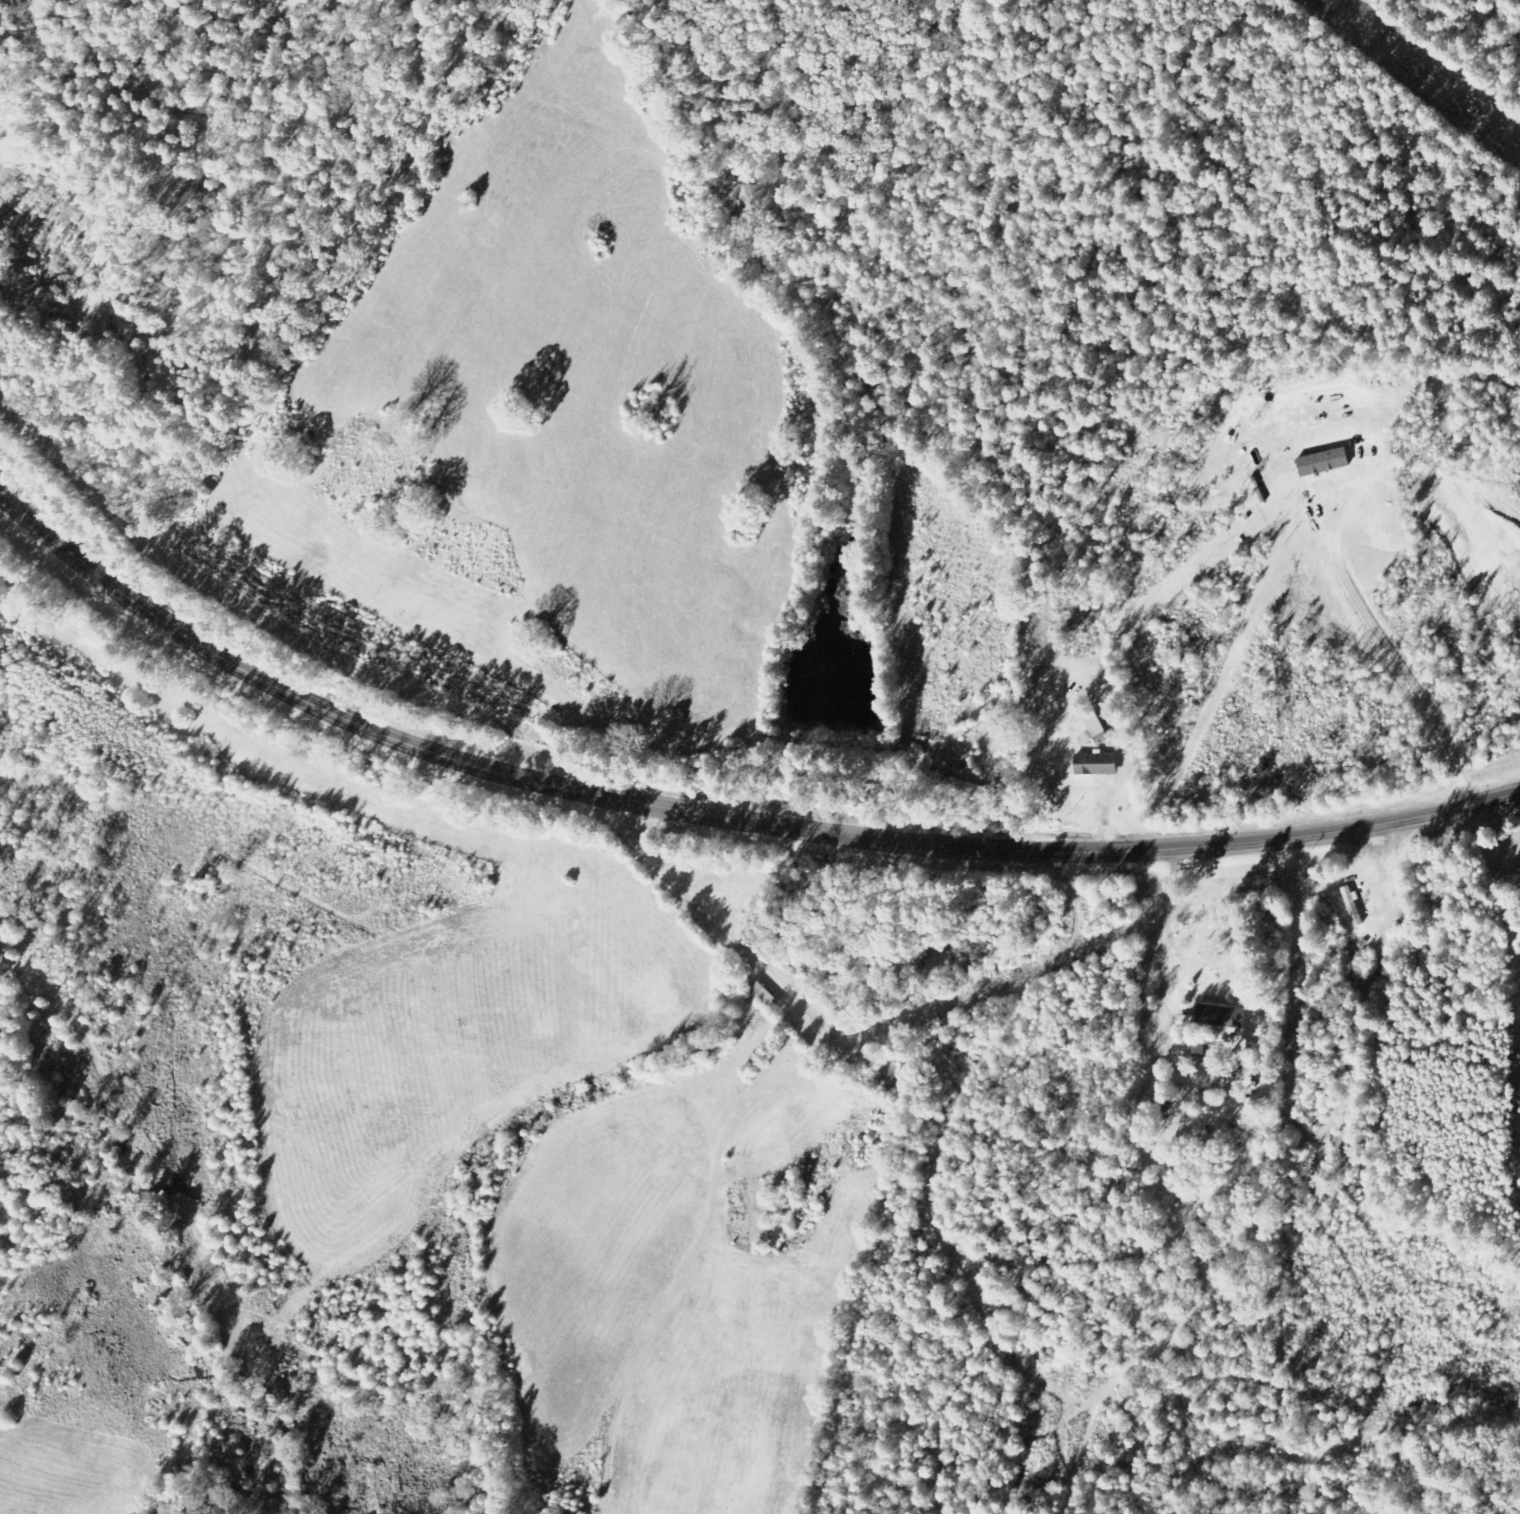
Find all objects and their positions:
building: (1095, 725)
building: (1098, 764)
road: (720, 814)
building: (1213, 1020)

